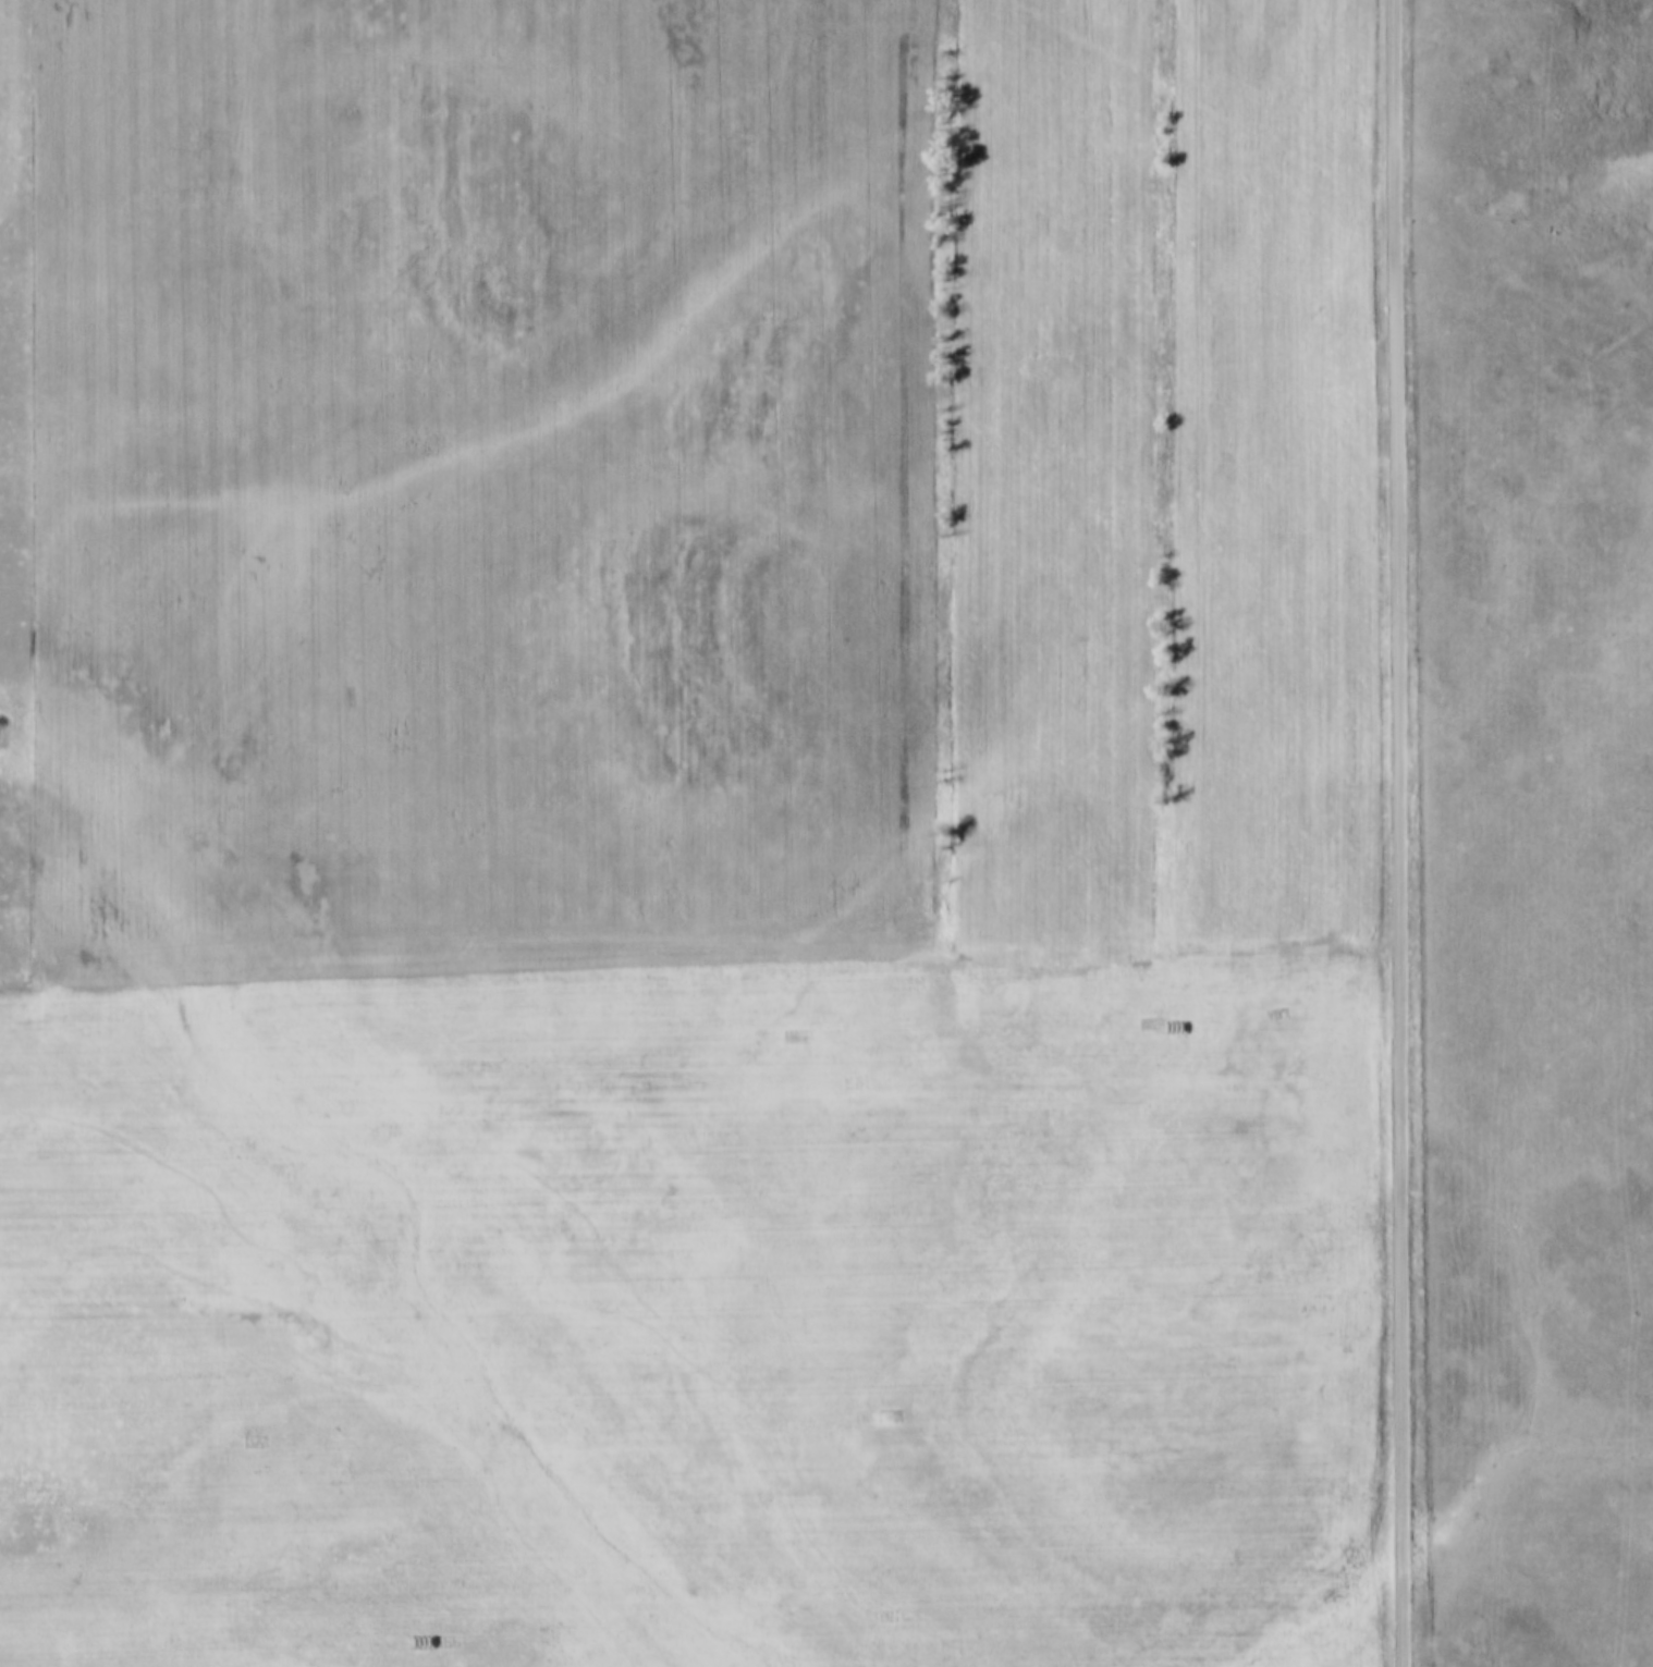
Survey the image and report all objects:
road: (1395, 833)

